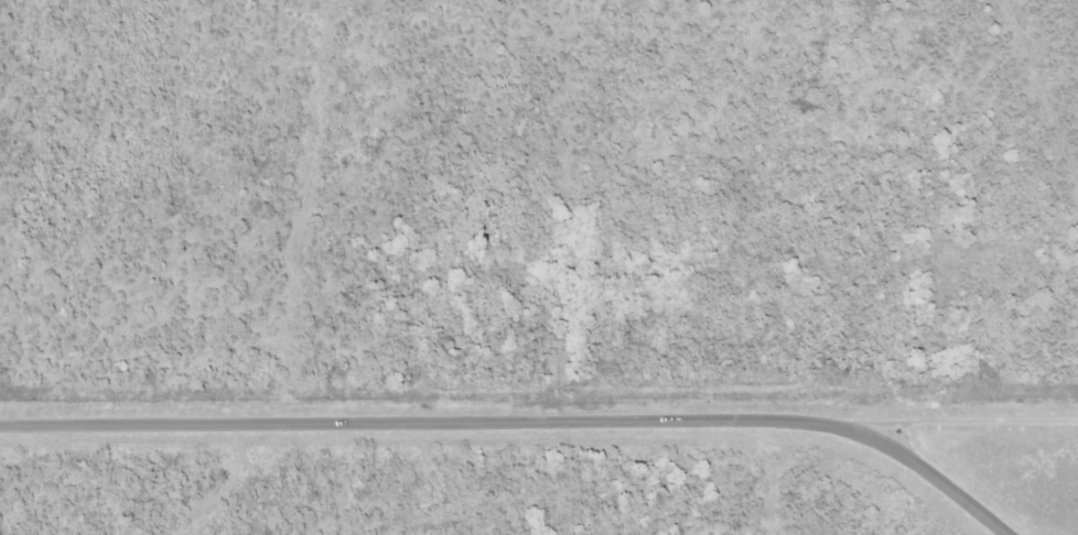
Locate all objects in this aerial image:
road: (521, 423)

